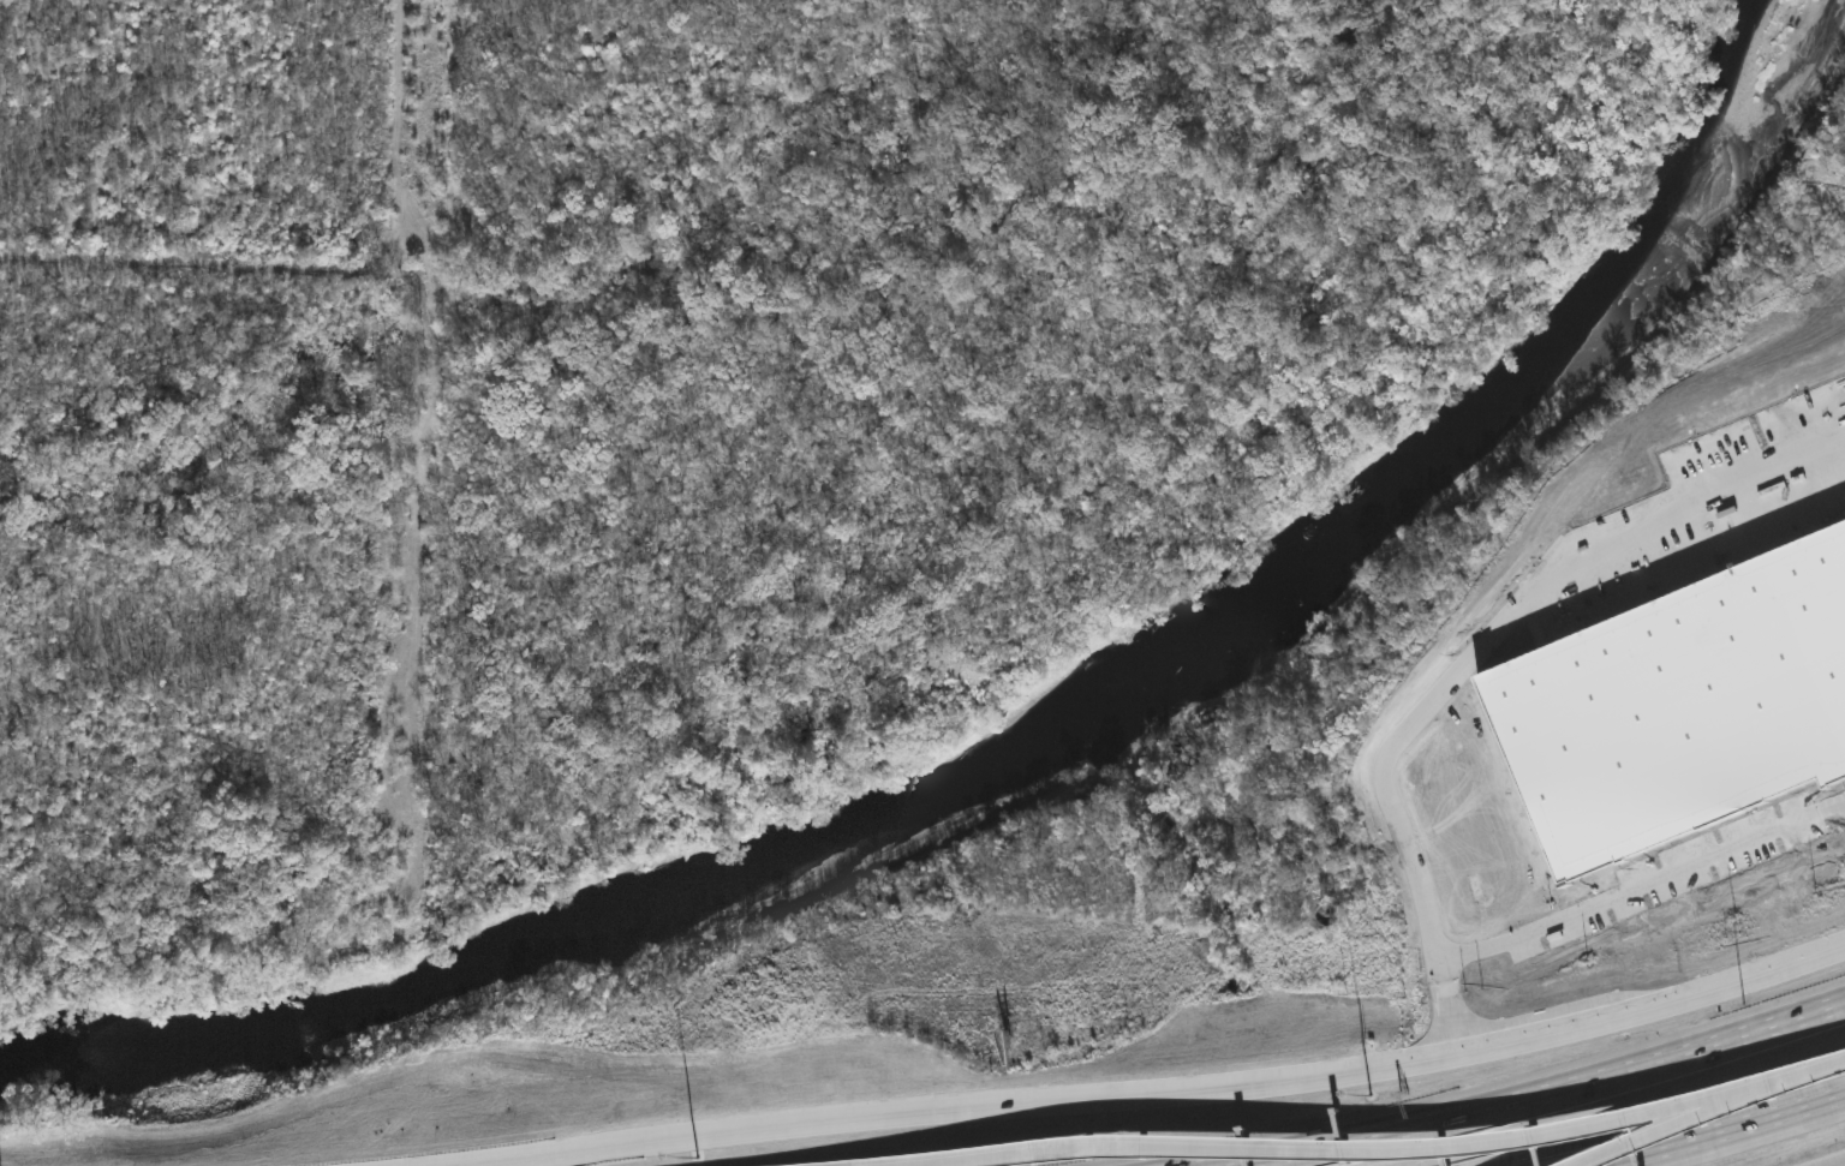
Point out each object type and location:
river: (1046, 754)
road: (1805, 1072)
road: (1140, 1096)
road: (1539, 1096)
road: (1694, 1105)
road: (1628, 1108)
road: (1697, 1116)
road: (1720, 1132)
road: (1264, 1152)
road: (1604, 1155)
road: (1844, 1165)

